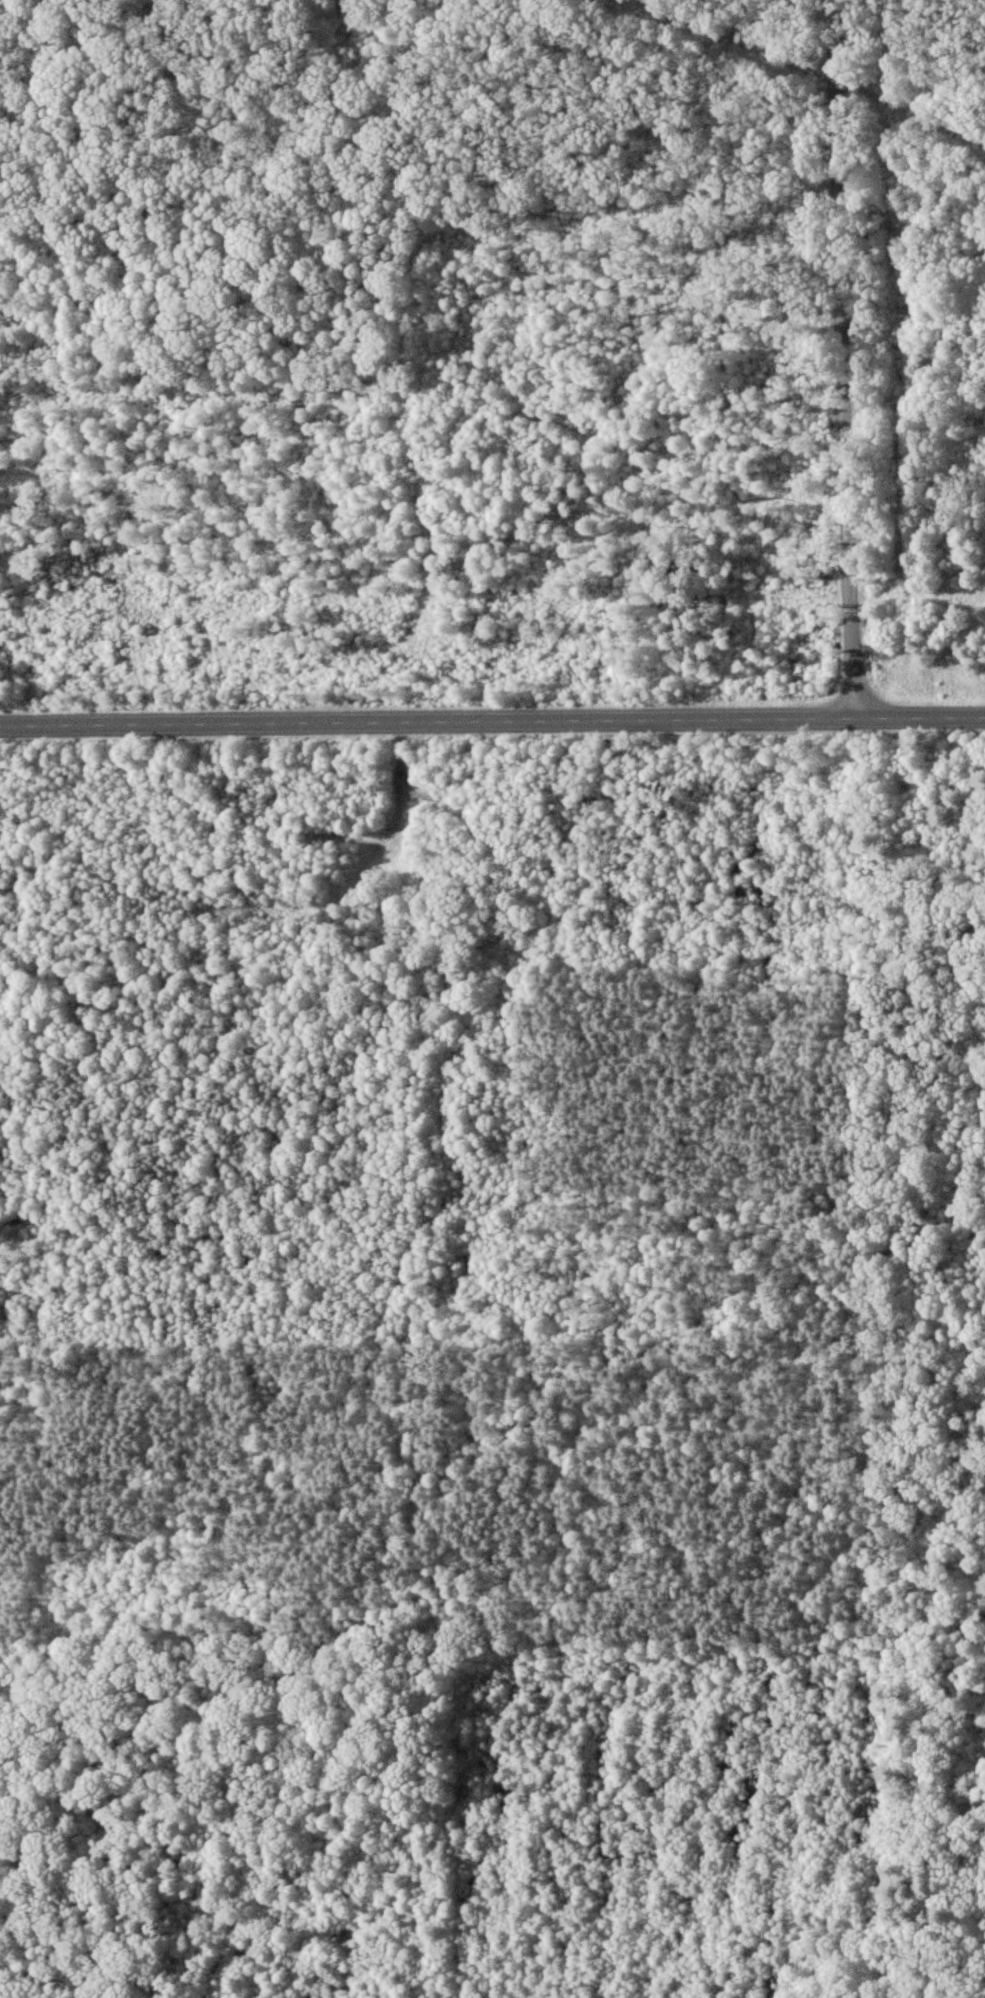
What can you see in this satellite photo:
road: (845, 359)
road: (492, 723)

